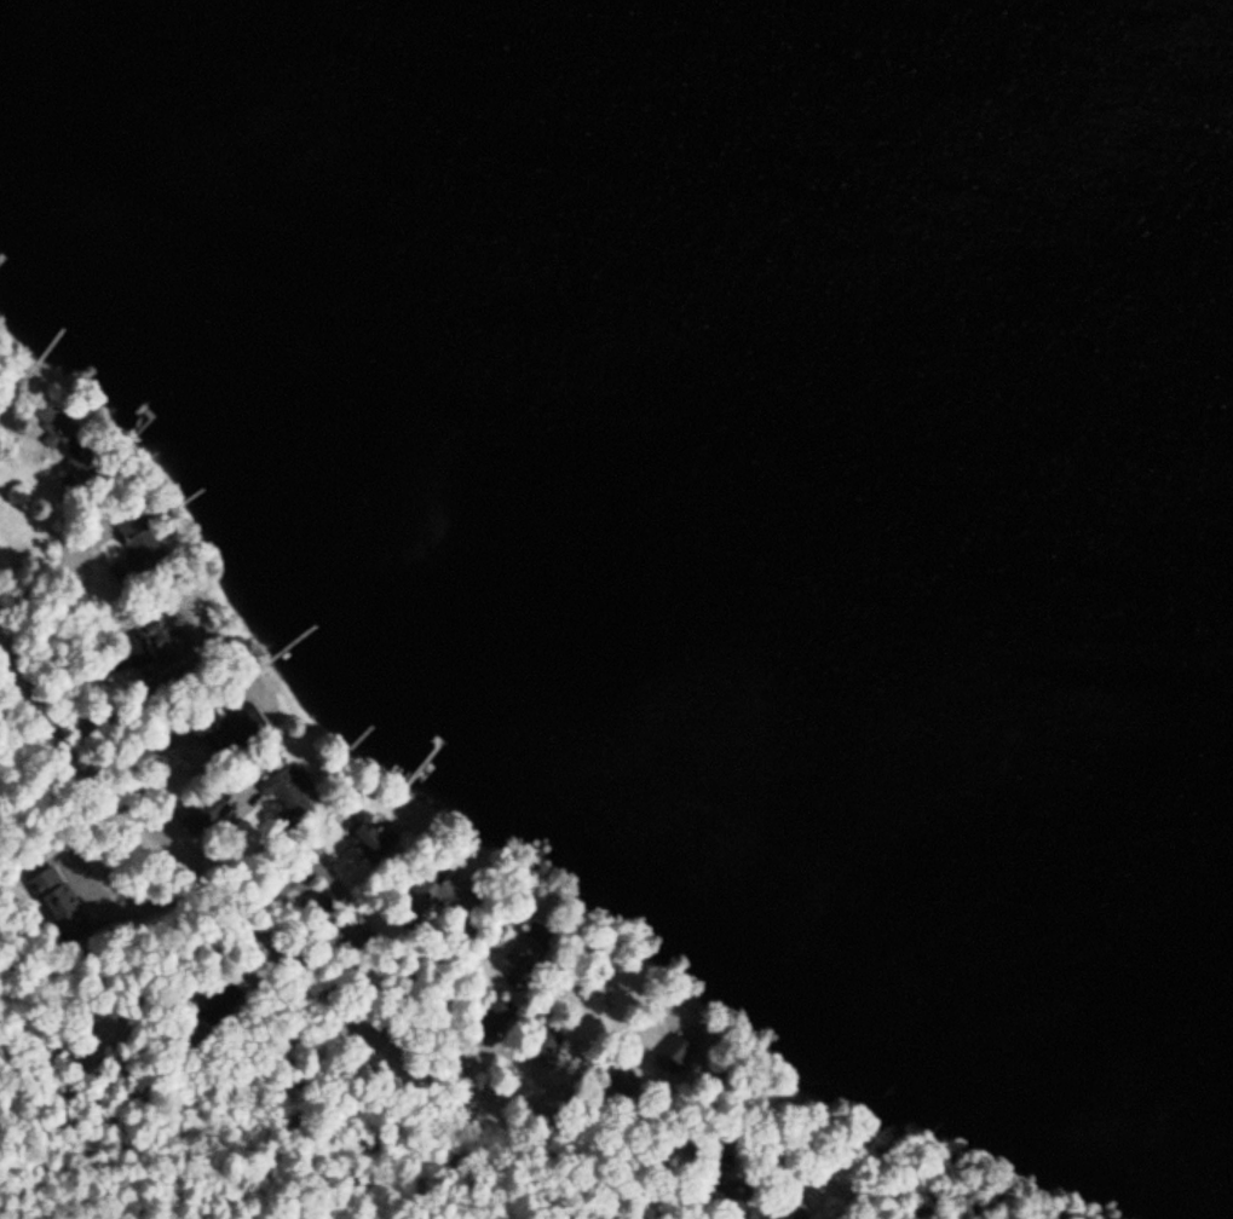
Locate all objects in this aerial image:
building: (58, 434)
building: (133, 538)
building: (62, 909)
road: (287, 955)
building: (730, 1196)

